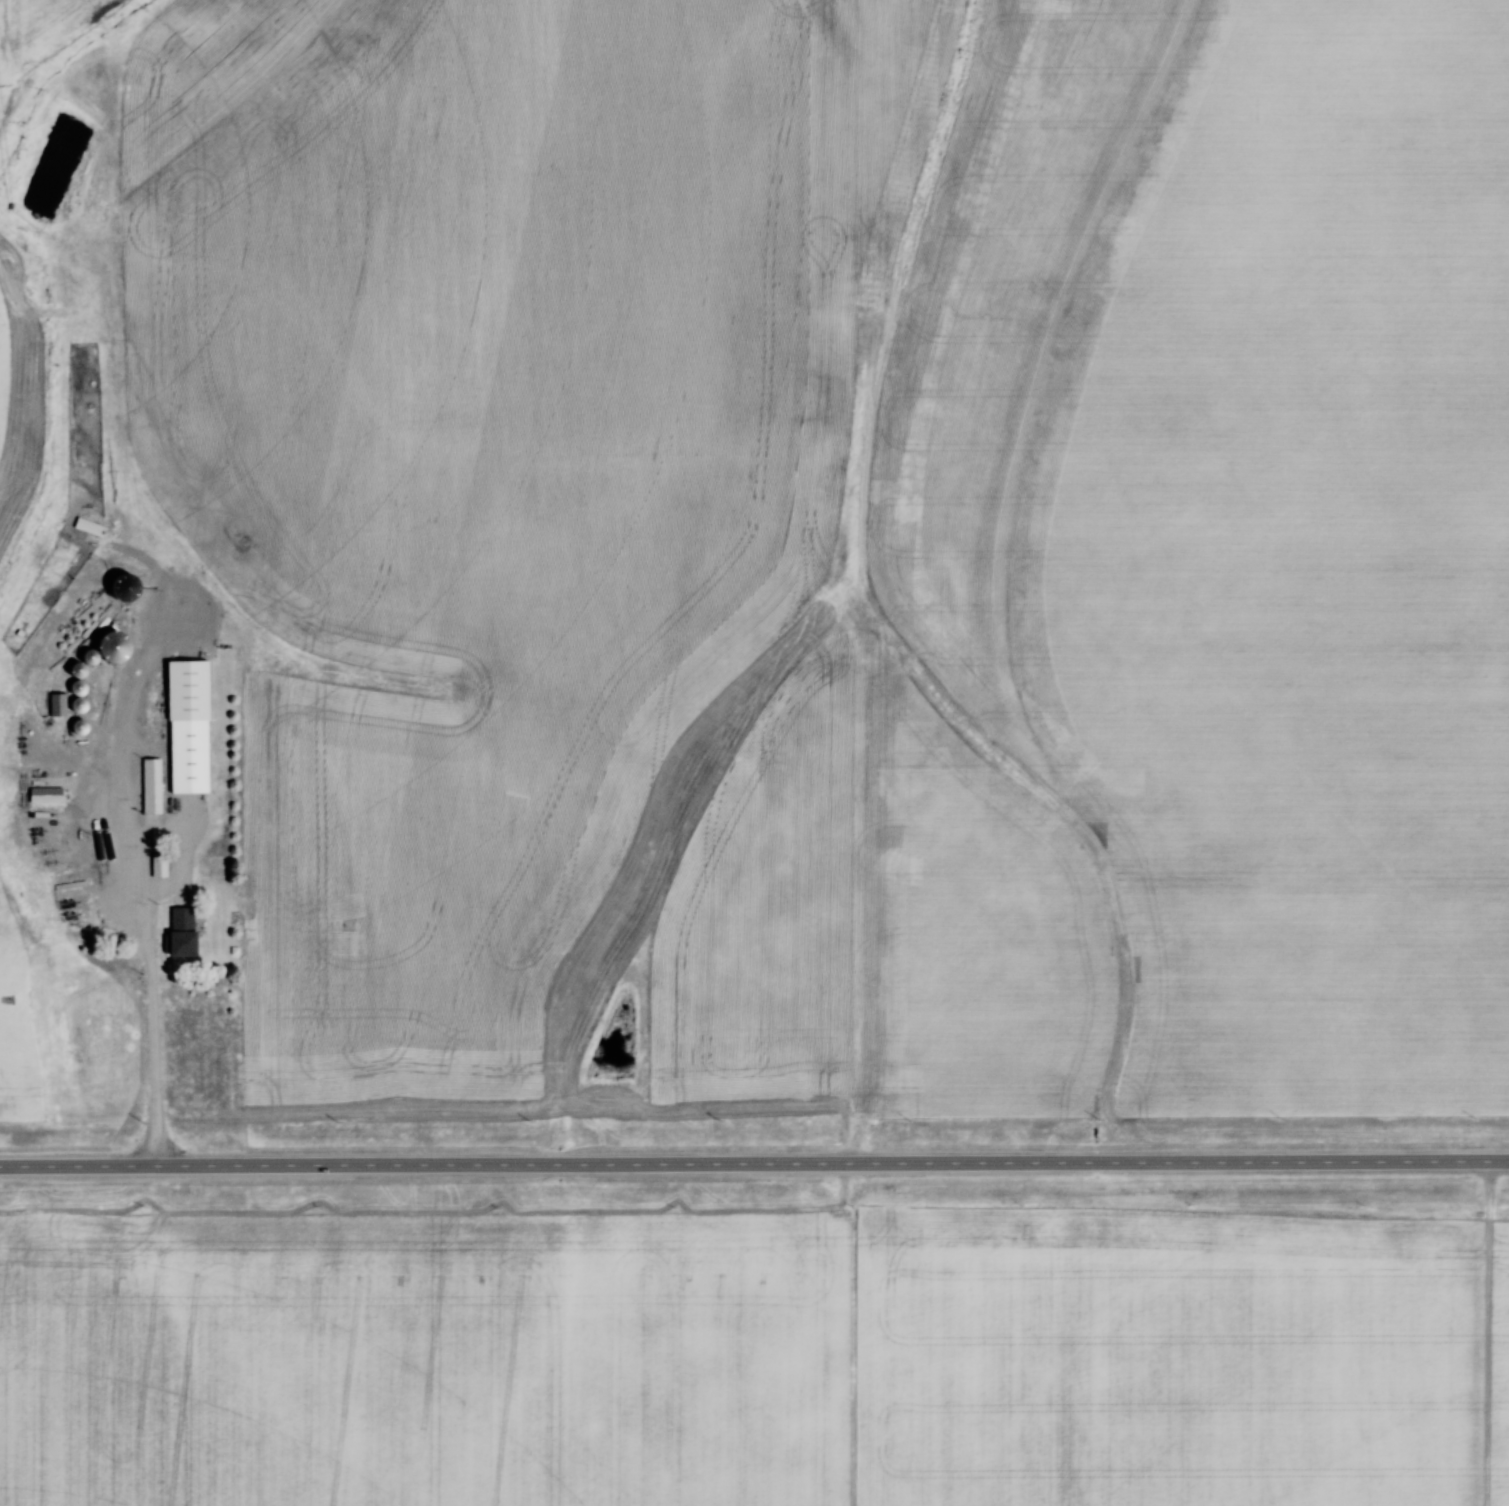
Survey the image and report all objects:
building: (193, 726)
building: (77, 759)
building: (155, 786)
building: (48, 795)
building: (162, 865)
building: (187, 932)
road: (156, 1050)
road: (754, 1168)

